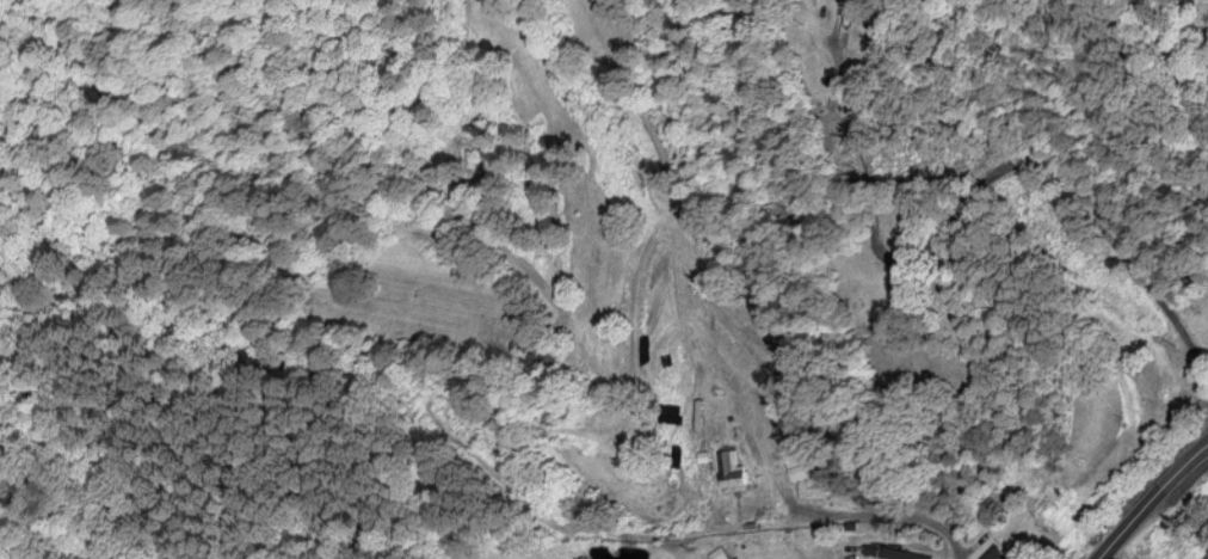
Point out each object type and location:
road: (1043, 193)
building: (732, 473)
building: (800, 474)
road: (1150, 494)
road: (887, 523)
building: (999, 552)

